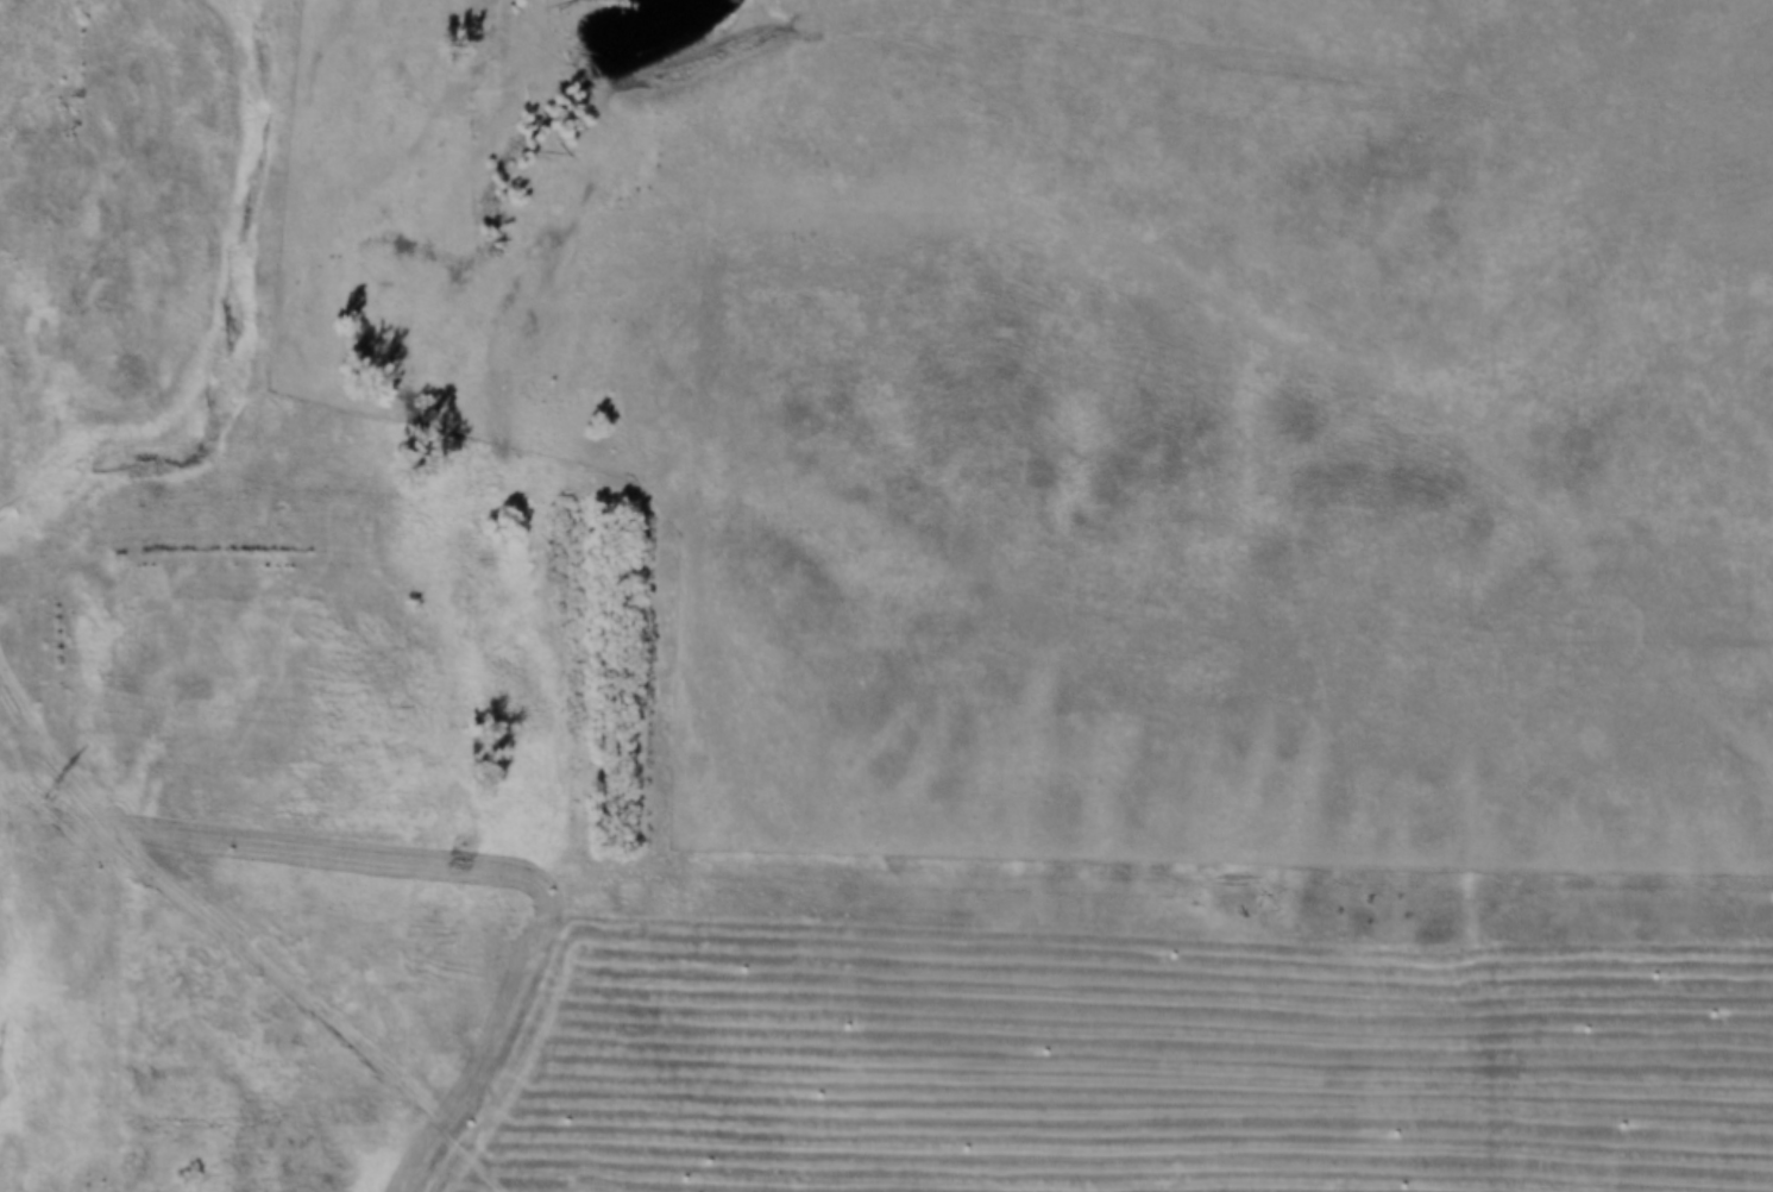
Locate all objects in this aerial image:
power tower: (43, 795)

